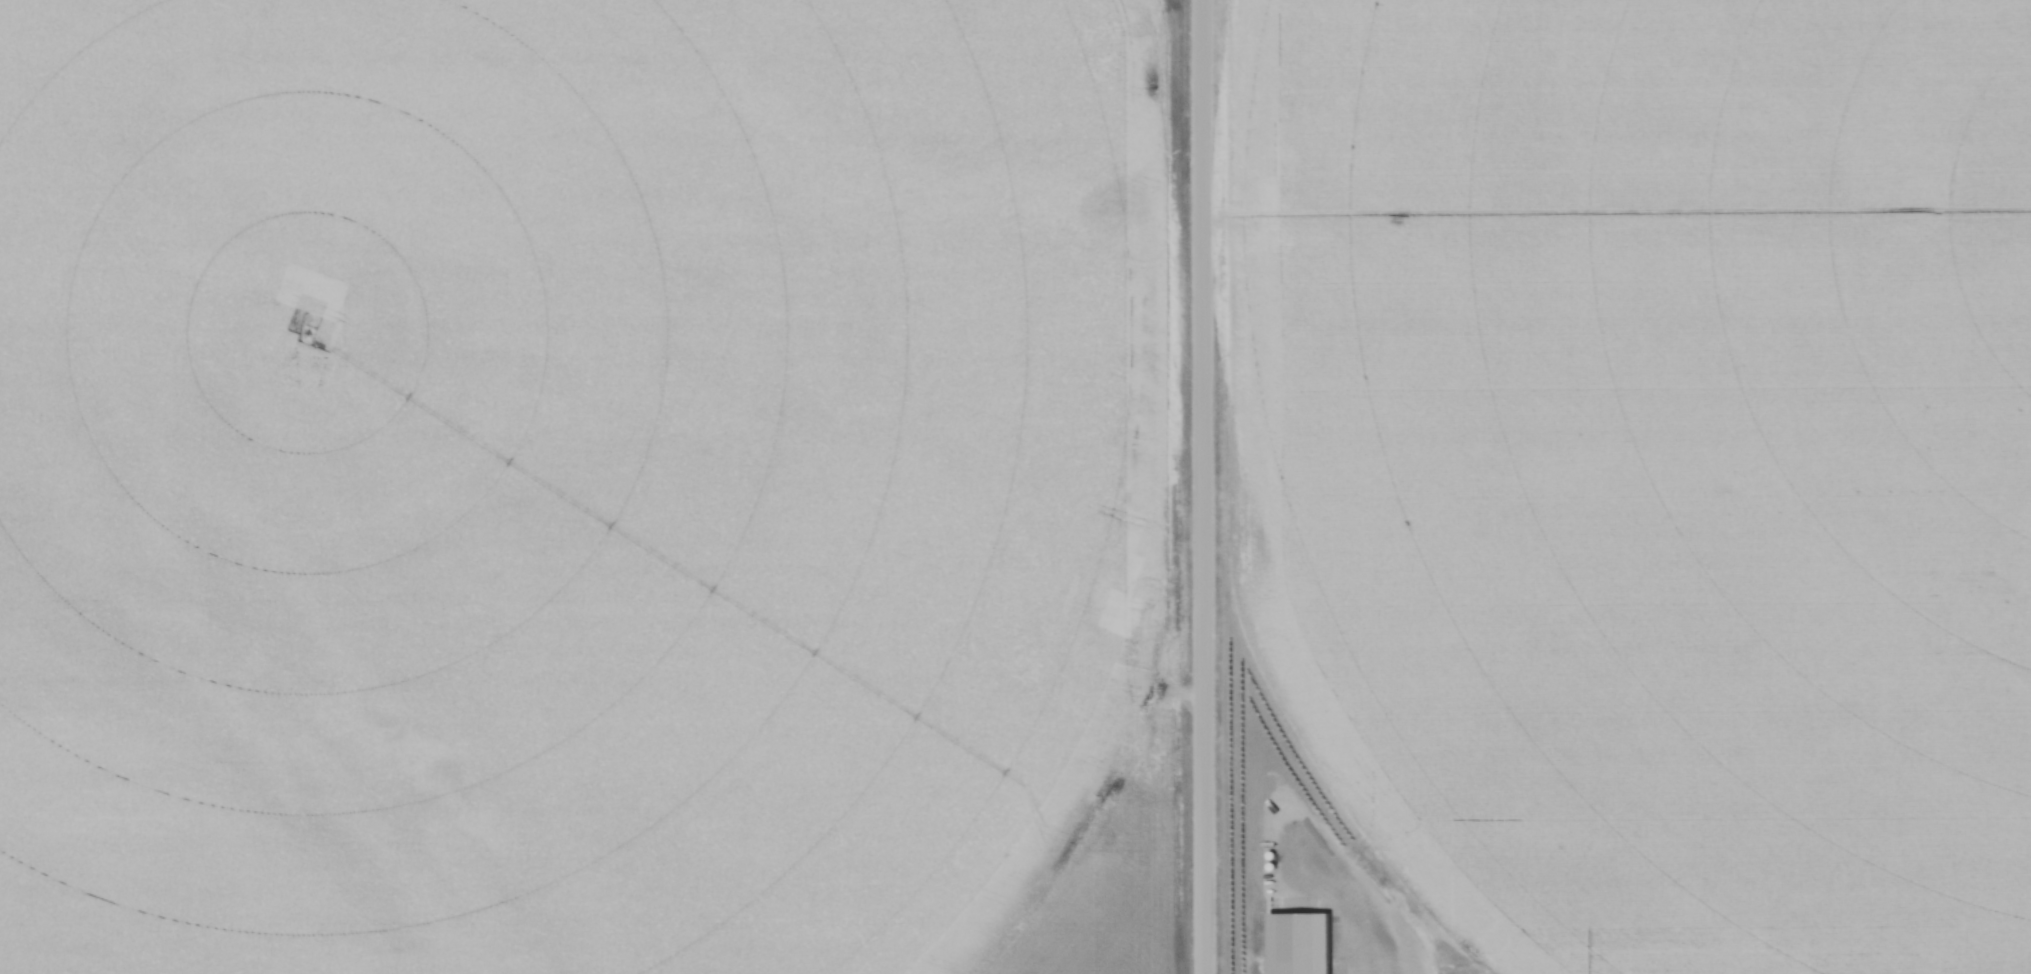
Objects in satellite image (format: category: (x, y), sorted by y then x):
road: (1202, 487)

